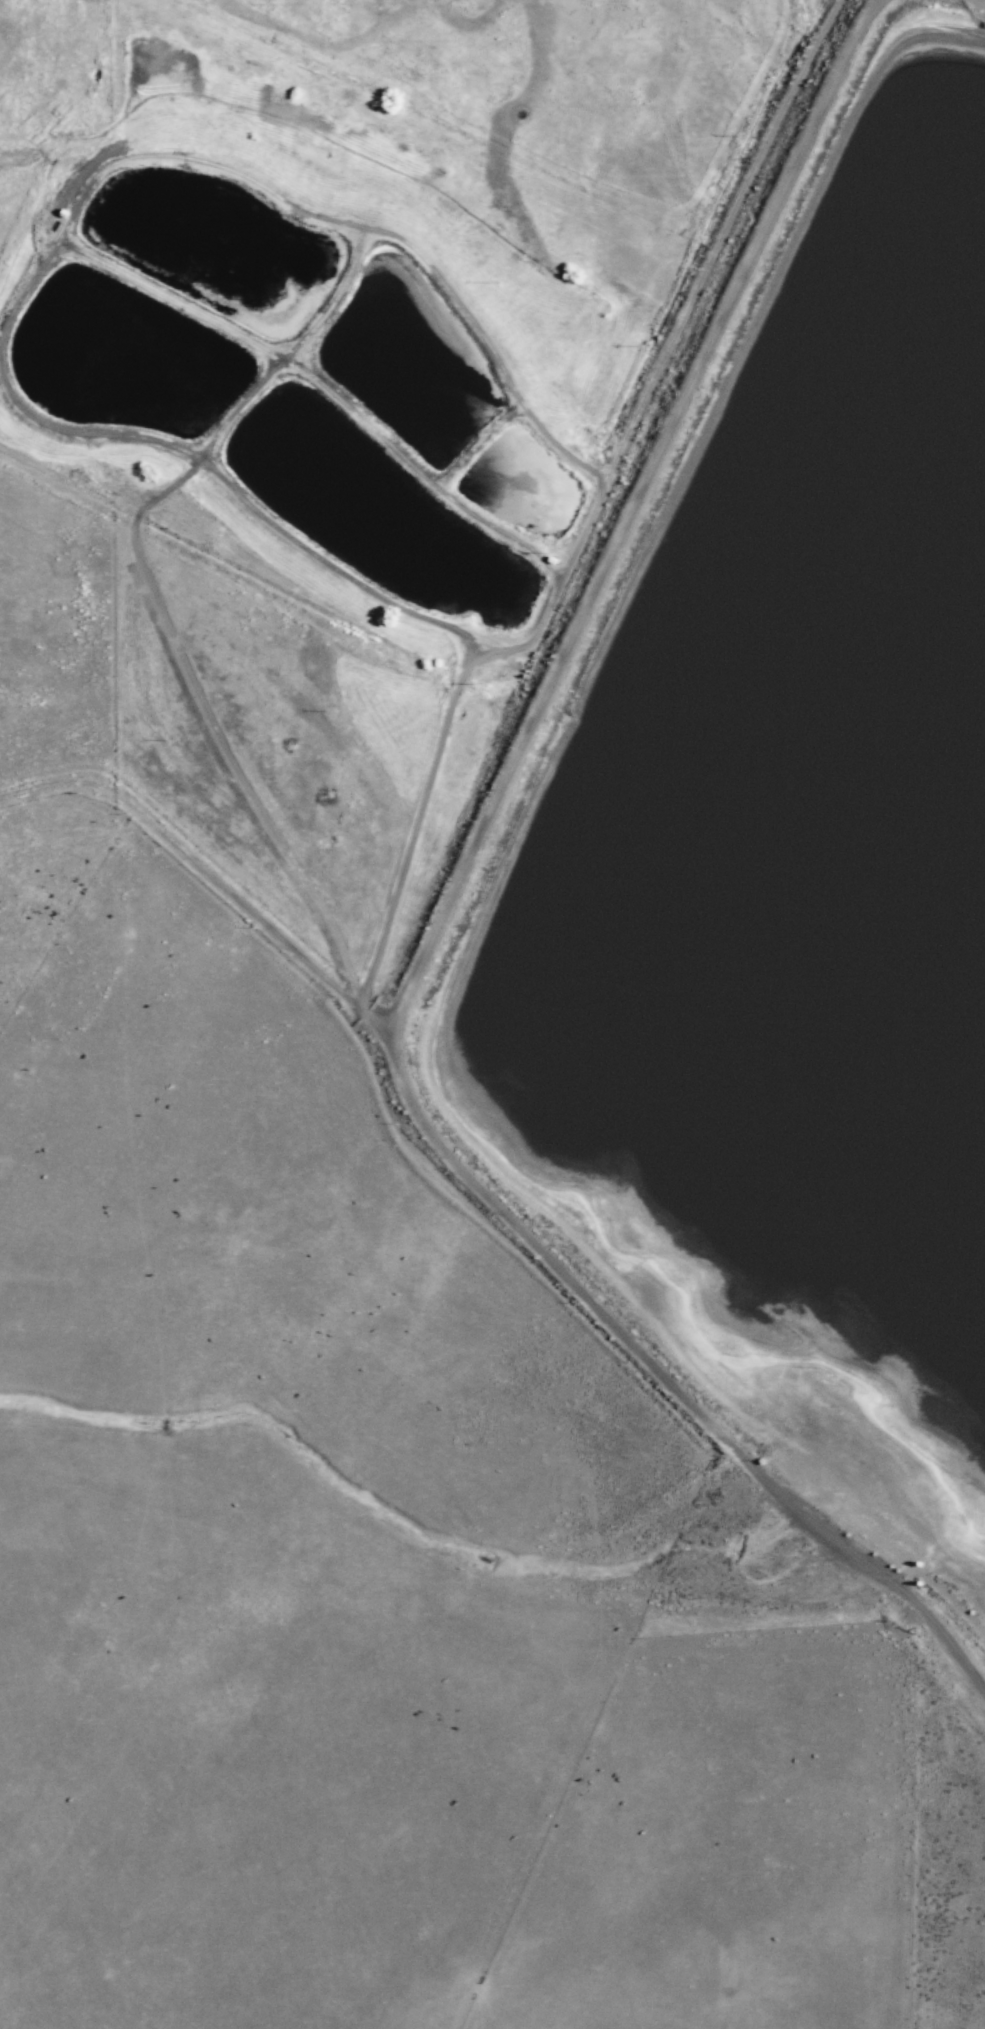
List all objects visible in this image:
wastewater plant: (210, 262)
wastewater plant: (113, 379)
wastewater plant: (391, 402)
wastewater plant: (507, 515)
wastewater plant: (354, 530)
wastewater plant: (517, 619)
road: (497, 1204)

